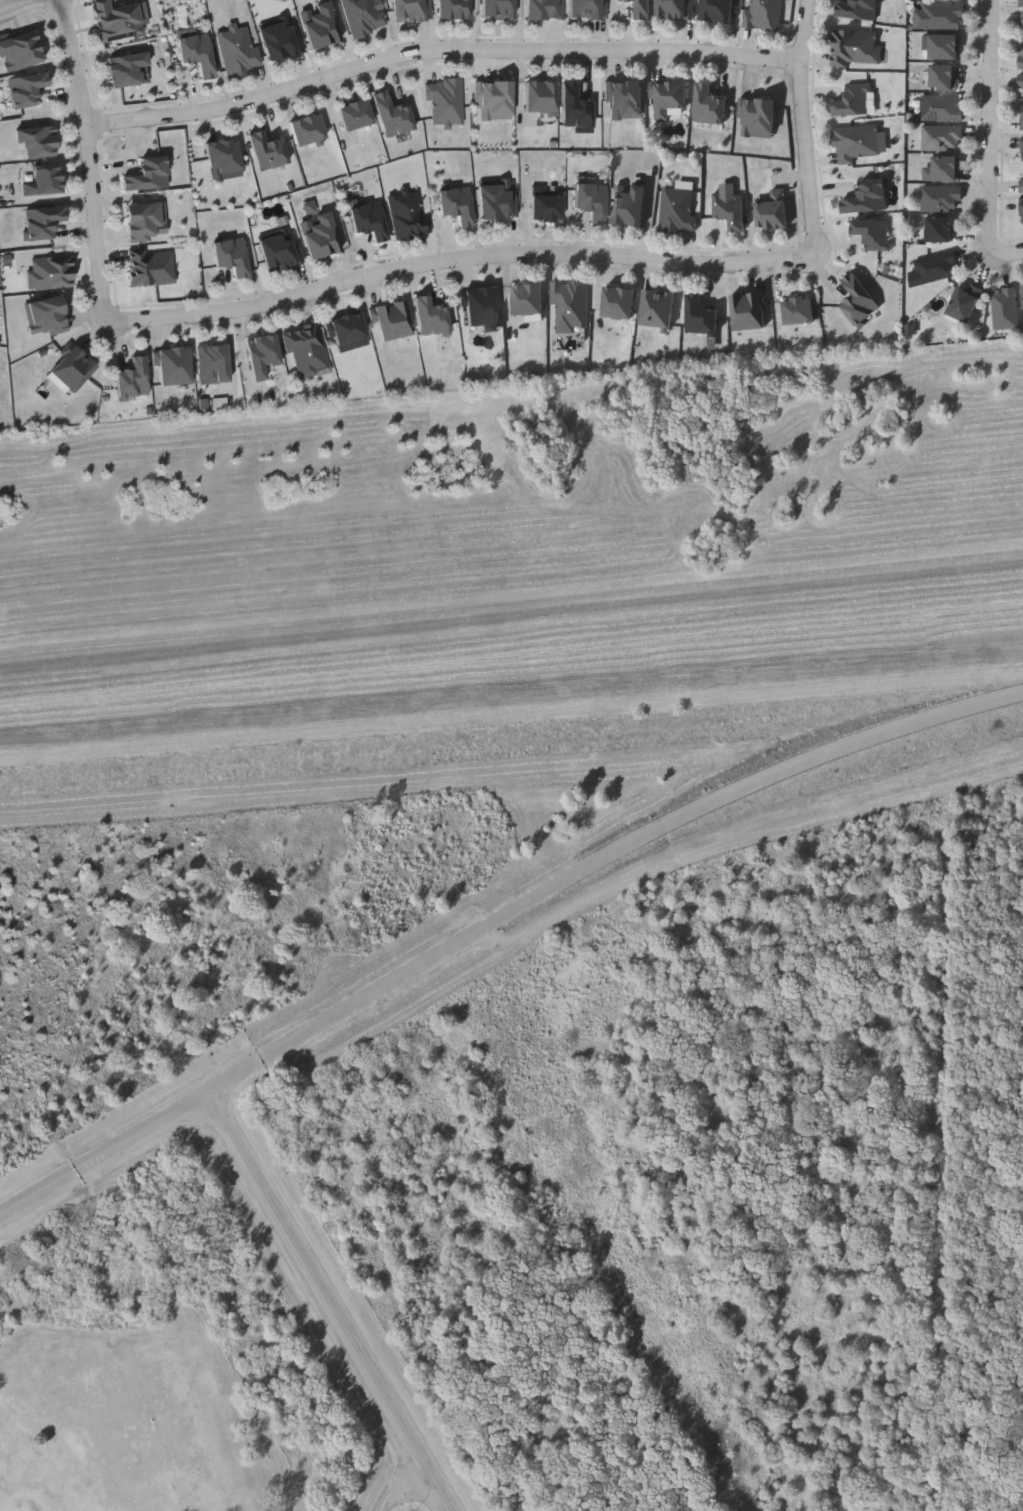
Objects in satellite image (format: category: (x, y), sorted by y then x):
building: (948, 0)
building: (1020, 3)
road: (12, 4)
building: (453, 9)
building: (497, 9)
building: (585, 9)
building: (674, 9)
building: (410, 10)
building: (544, 10)
building: (643, 10)
building: (716, 10)
building: (858, 10)
building: (763, 14)
building: (363, 16)
building: (946, 18)
building: (118, 20)
building: (320, 25)
building: (280, 38)
building: (856, 48)
building: (947, 49)
building: (237, 50)
building: (19, 51)
road: (441, 51)
building: (197, 53)
building: (1020, 56)
building: (125, 68)
building: (946, 80)
building: (1020, 82)
building: (26, 87)
building: (540, 96)
building: (669, 98)
building: (624, 99)
building: (445, 100)
building: (495, 100)
building: (855, 100)
building: (709, 105)
building: (575, 106)
building: (944, 110)
building: (355, 114)
building: (393, 115)
building: (758, 117)
road: (993, 118)
building: (1022, 118)
road: (805, 126)
building: (307, 129)
building: (944, 139)
building: (38, 141)
building: (856, 143)
building: (1022, 149)
building: (267, 150)
building: (223, 155)
road: (92, 160)
building: (948, 170)
building: (148, 173)
building: (44, 182)
building: (1021, 186)
building: (868, 196)
building: (944, 199)
building: (497, 200)
building: (592, 200)
building: (457, 205)
building: (629, 205)
building: (547, 207)
building: (730, 209)
building: (677, 210)
building: (773, 211)
building: (1021, 211)
building: (407, 215)
building: (145, 220)
building: (369, 220)
building: (42, 221)
building: (942, 231)
building: (872, 232)
building: (320, 235)
building: (280, 250)
road: (1003, 250)
building: (231, 255)
road: (458, 259)
building: (150, 267)
building: (939, 269)
building: (50, 271)
building: (528, 299)
building: (859, 300)
building: (618, 303)
building: (964, 303)
building: (570, 304)
building: (480, 305)
building: (657, 308)
building: (1004, 308)
building: (798, 310)
building: (748, 311)
building: (45, 314)
building: (431, 316)
building: (701, 317)
building: (392, 320)
building: (346, 331)
building: (305, 347)
building: (262, 354)
building: (212, 362)
building: (174, 364)
building: (73, 367)
building: (132, 377)
road: (629, 849)
road: (231, 1078)
park: (519, 1152)
road: (100, 1155)
road: (323, 1303)
road: (400, 1486)

